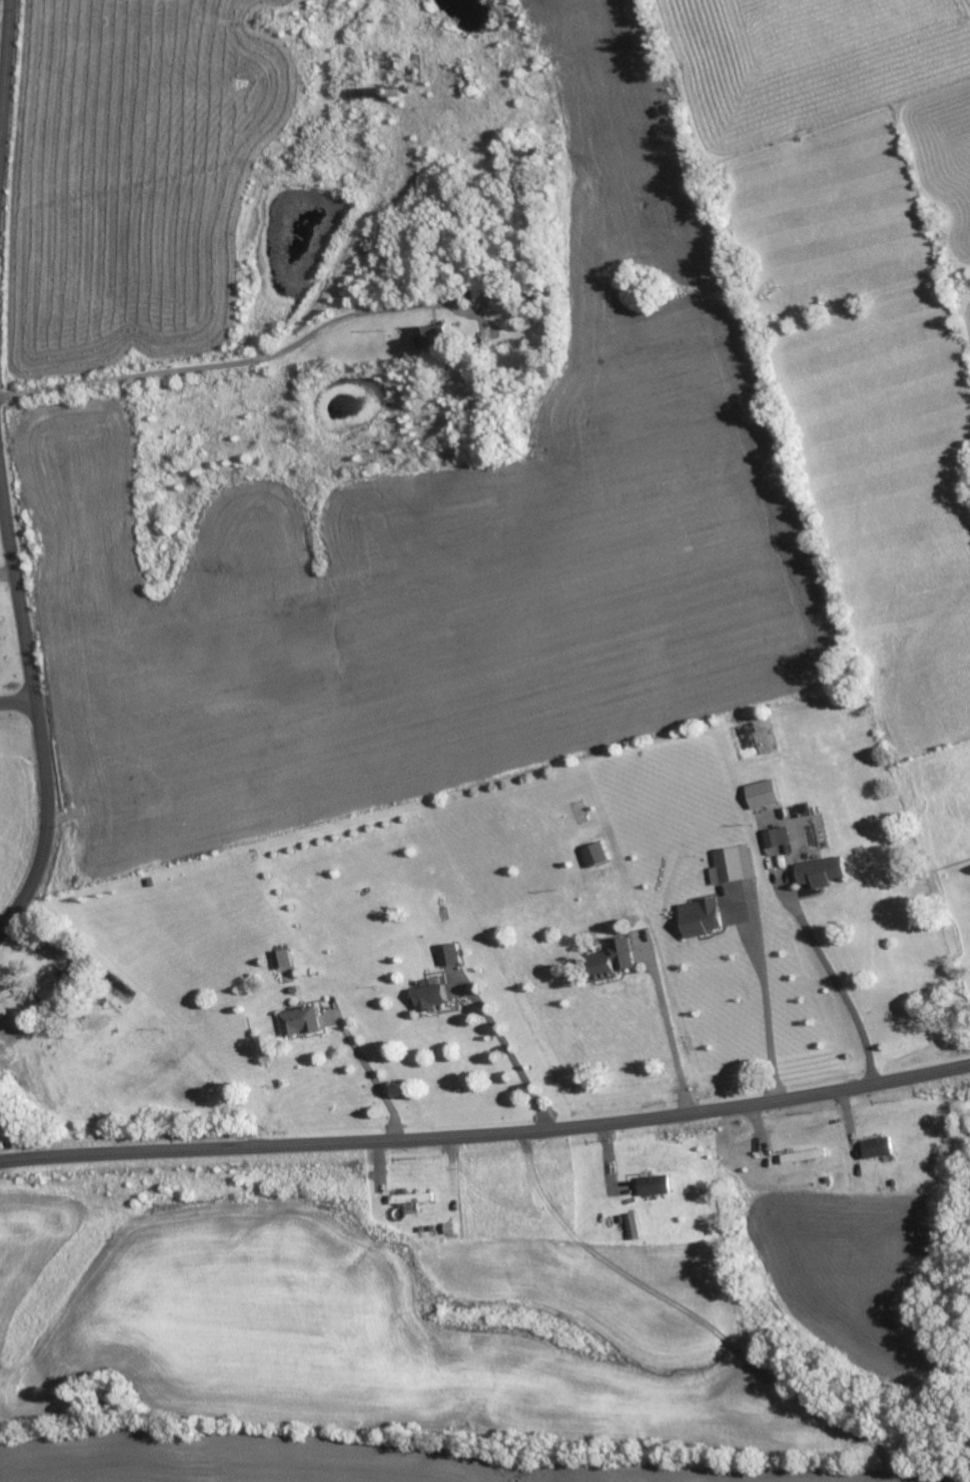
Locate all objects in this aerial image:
road: (3, 54)
building: (429, 335)
road: (215, 364)
road: (4, 576)
road: (14, 700)
road: (32, 730)
building: (761, 793)
building: (777, 836)
building: (594, 853)
building: (732, 864)
building: (820, 872)
building: (699, 917)
building: (447, 954)
building: (281, 958)
building: (611, 960)
road: (834, 975)
building: (50, 989)
building: (427, 997)
road: (766, 1000)
building: (298, 1021)
road: (671, 1031)
road: (510, 1050)
road: (372, 1075)
road: (487, 1134)
building: (876, 1147)
building: (803, 1155)
building: (654, 1185)
building: (410, 1198)
building: (633, 1225)

